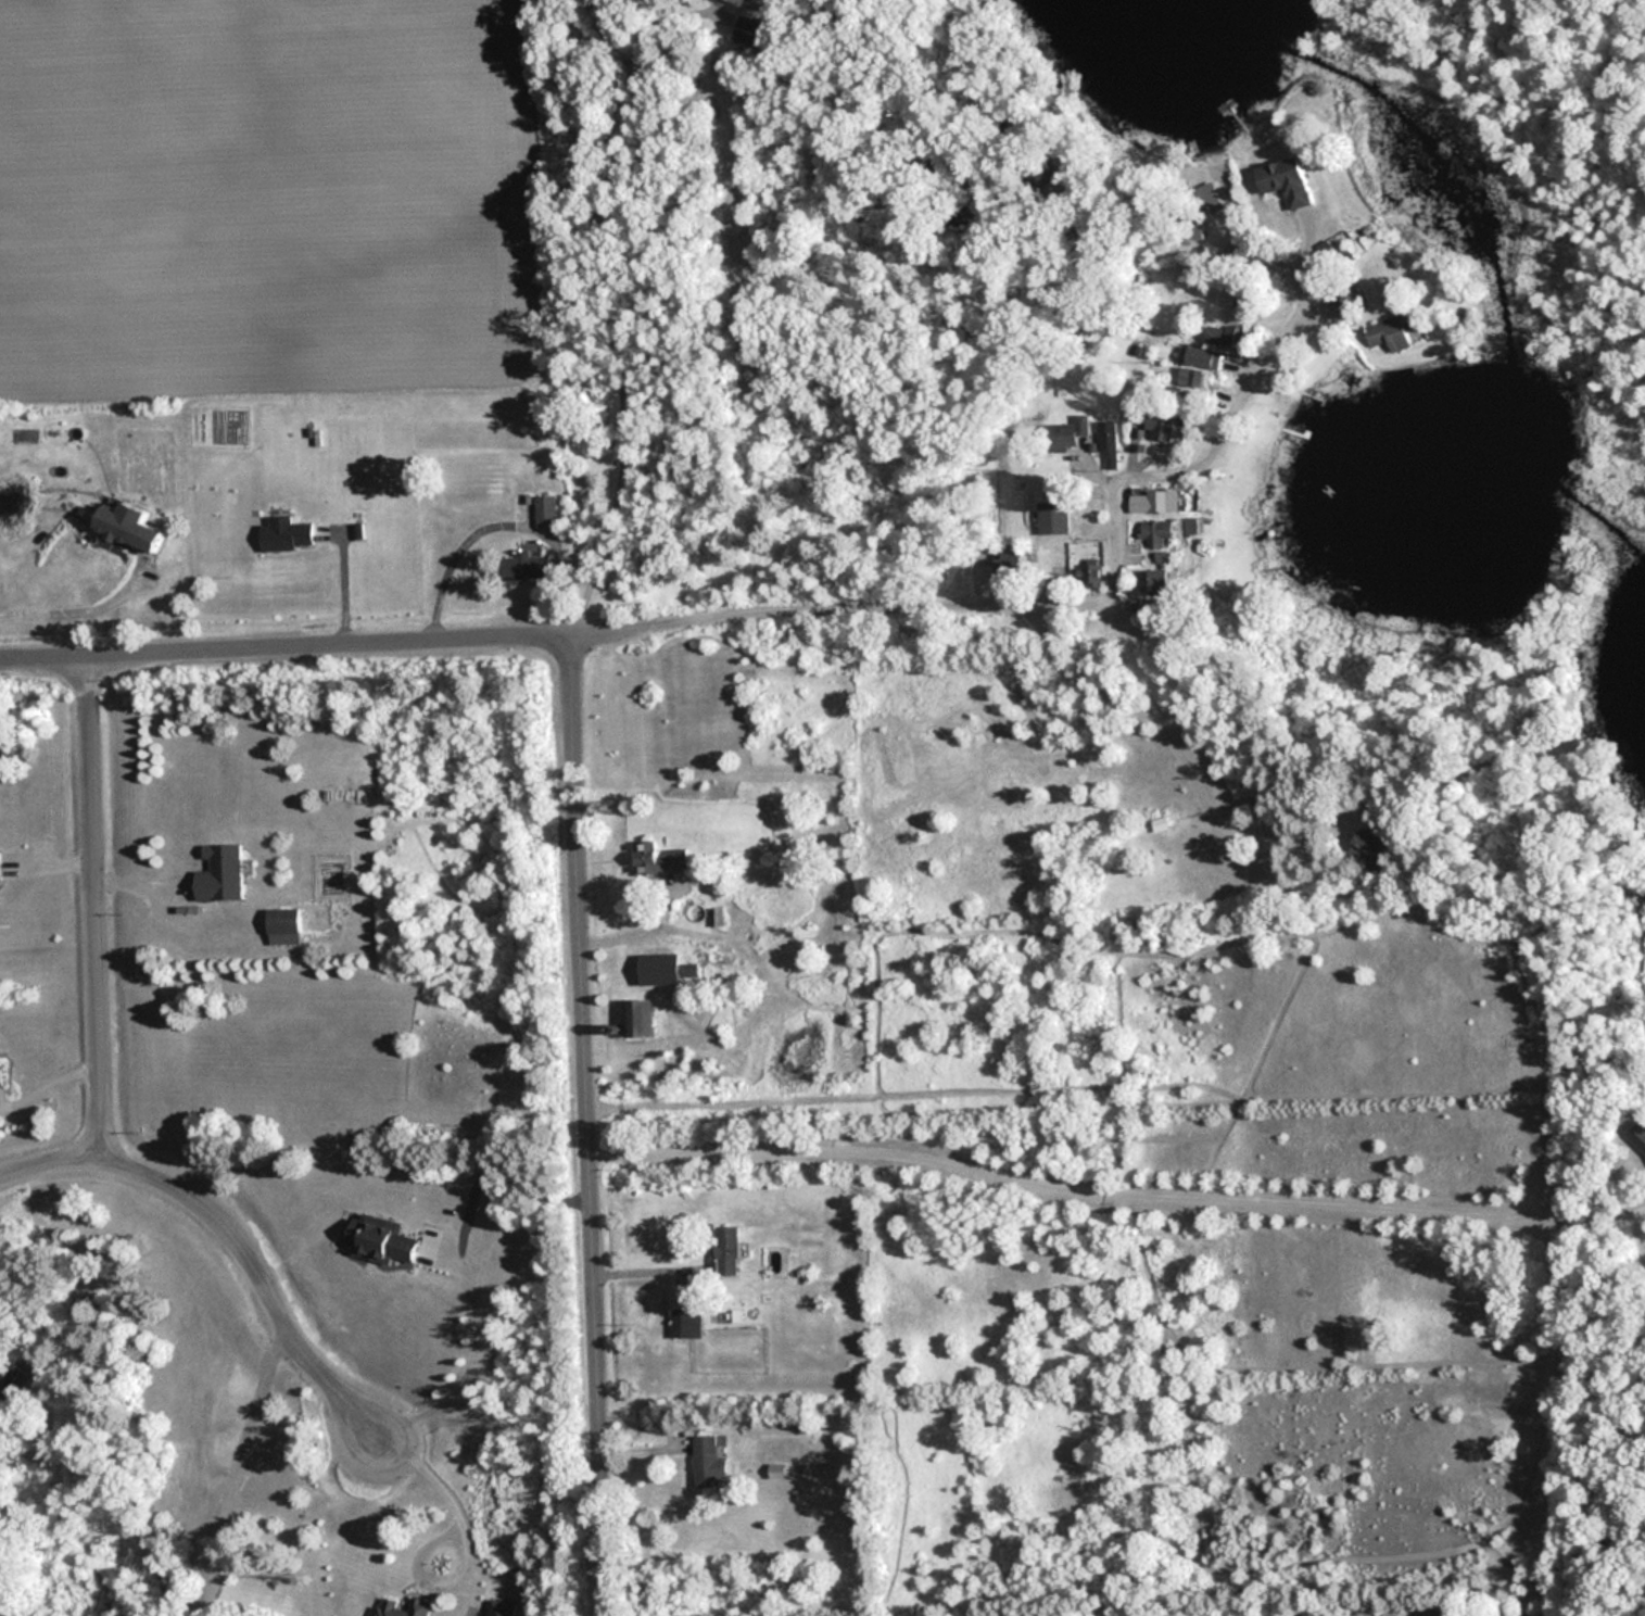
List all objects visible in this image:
building: (752, 27)
building: (1286, 181)
building: (1209, 201)
building: (1344, 304)
building: (1395, 332)
building: (1203, 358)
building: (1191, 381)
building: (1162, 422)
road: (622, 434)
building: (1109, 442)
building: (1154, 502)
building: (545, 510)
building: (1052, 525)
building: (127, 526)
building: (1156, 529)
building: (284, 533)
road: (447, 553)
building: (529, 566)
building: (1009, 568)
building: (1090, 575)
building: (1153, 580)
road: (1055, 593)
road: (74, 608)
road: (289, 639)
building: (1160, 823)
building: (1368, 848)
building: (658, 858)
building: (0, 867)
building: (219, 873)
road: (91, 902)
building: (281, 921)
building: (658, 970)
building: (636, 1020)
building: (0, 1075)
road: (579, 1120)
building: (1637, 1137)
road: (48, 1161)
road: (1101, 1194)
building: (379, 1239)
building: (724, 1249)
road: (643, 1267)
road: (258, 1271)
building: (685, 1322)
road: (466, 1369)
building: (7, 1390)
building: (706, 1461)
road: (233, 1472)
road: (448, 1505)
building: (388, 1607)

